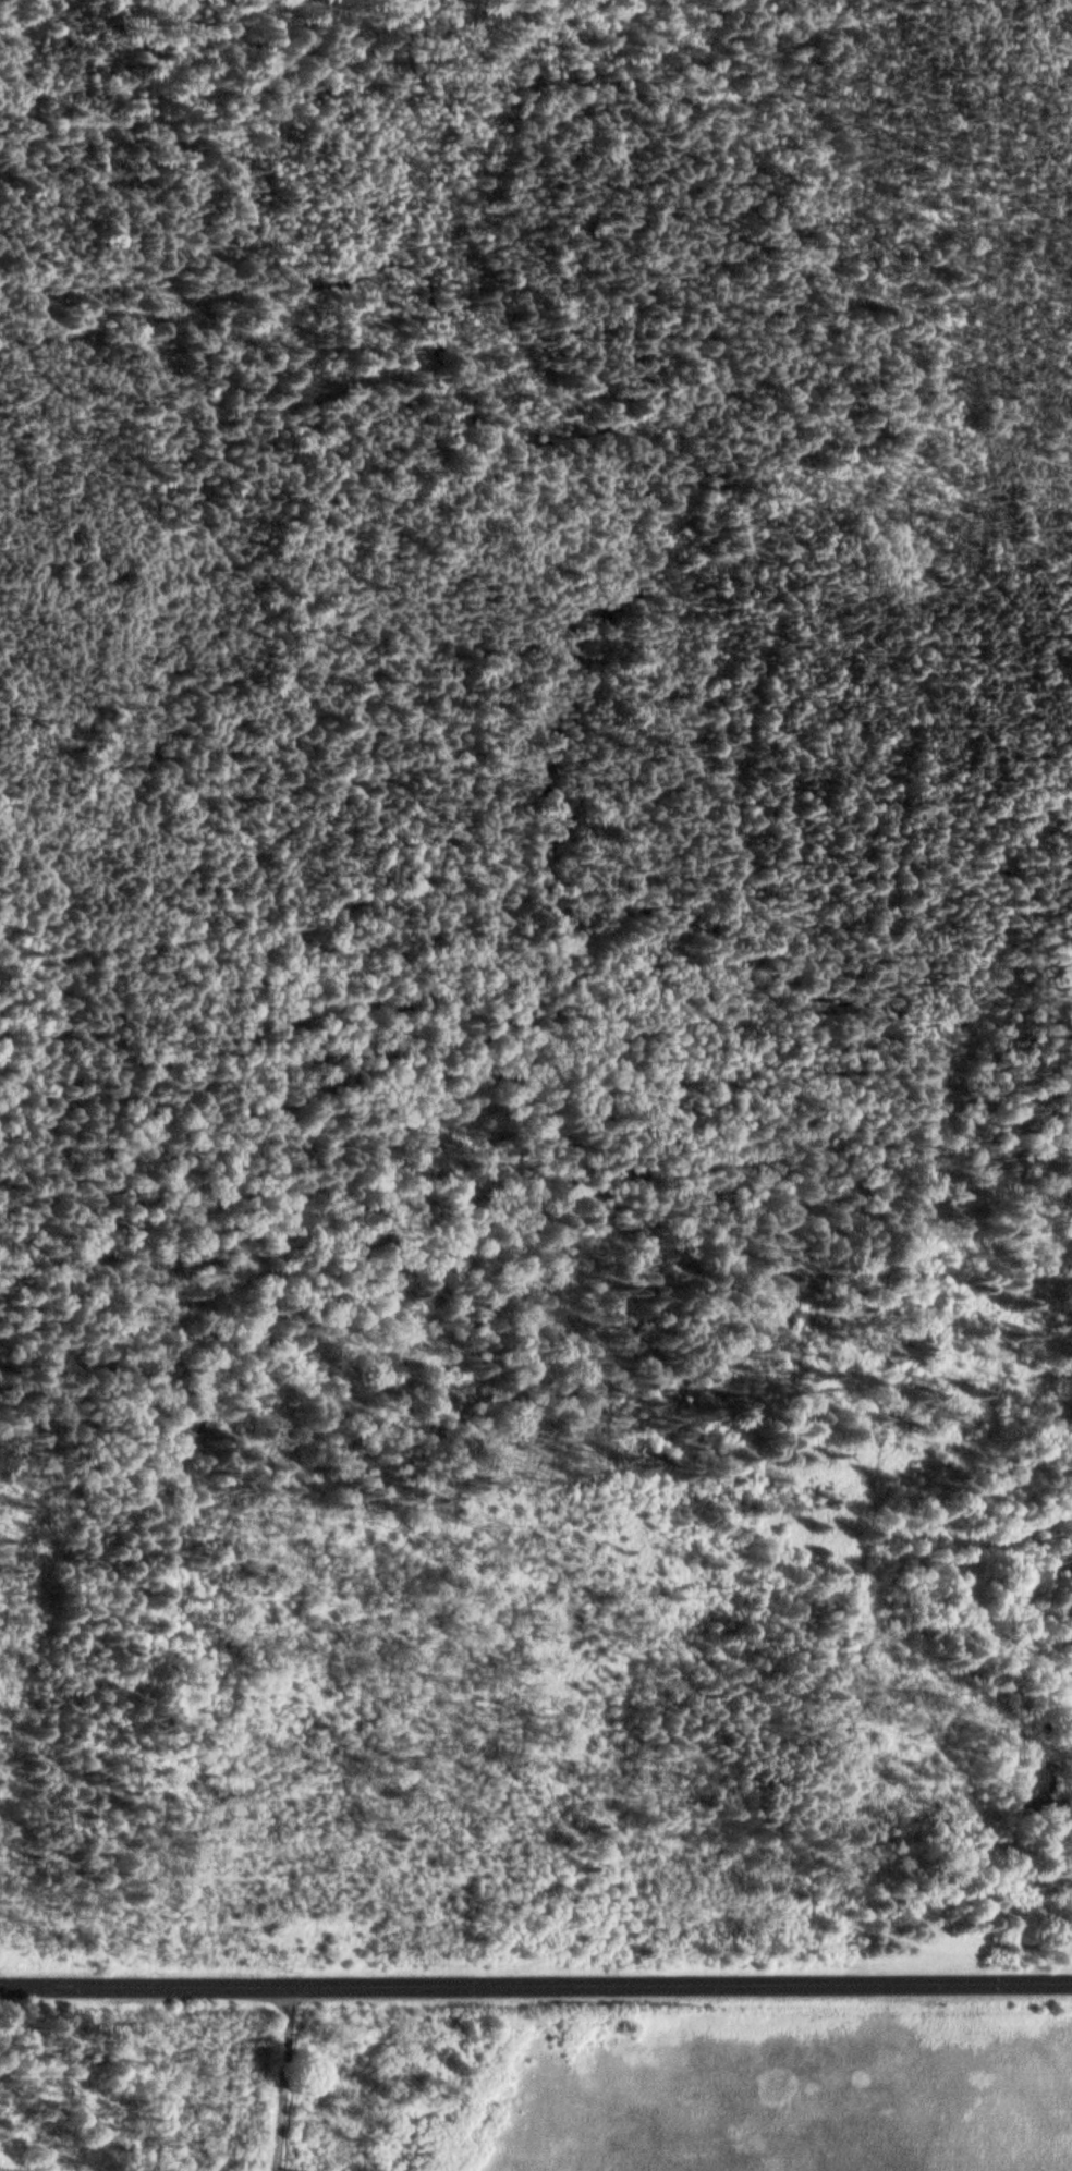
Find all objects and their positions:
road: (535, 1985)

